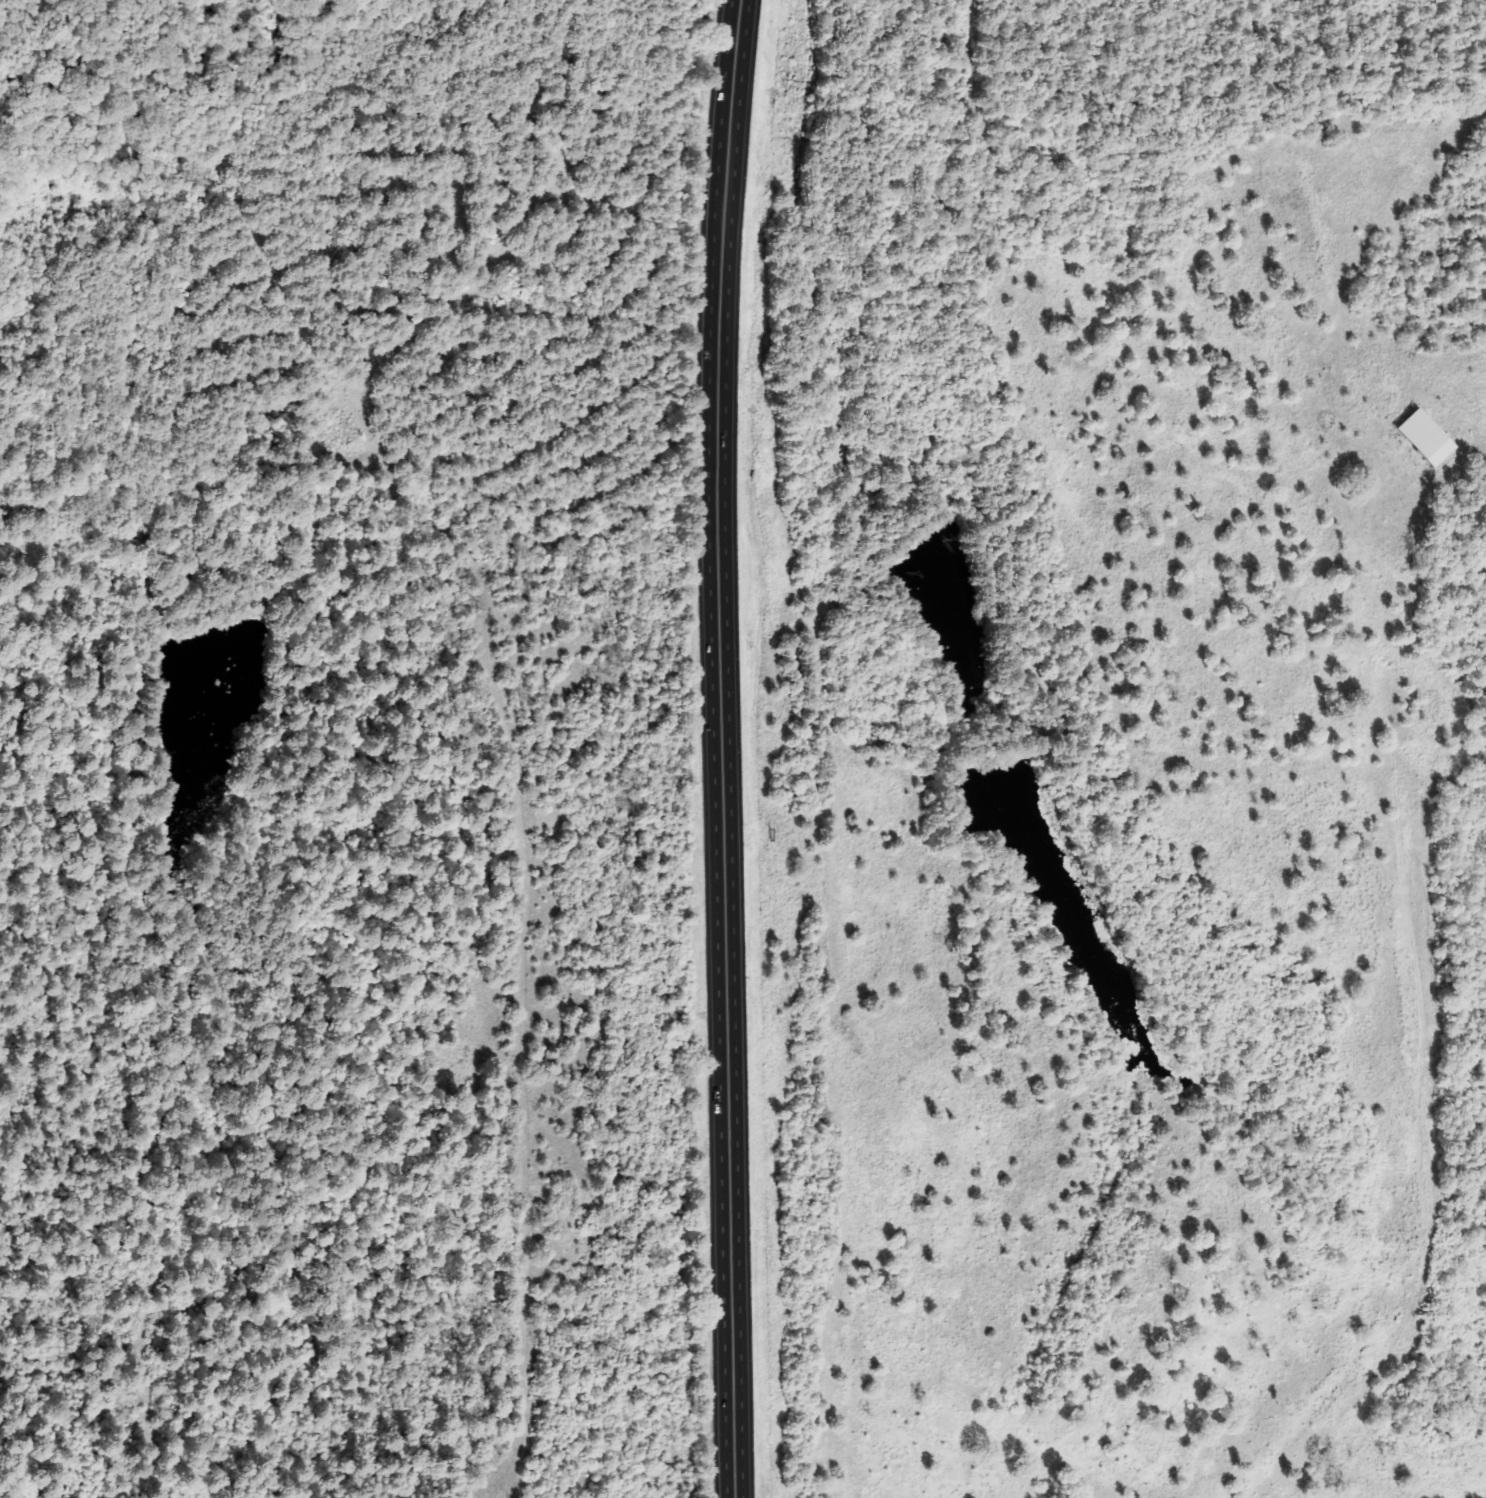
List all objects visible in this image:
building: (1431, 438)
road: (727, 748)
road: (917, 1369)

